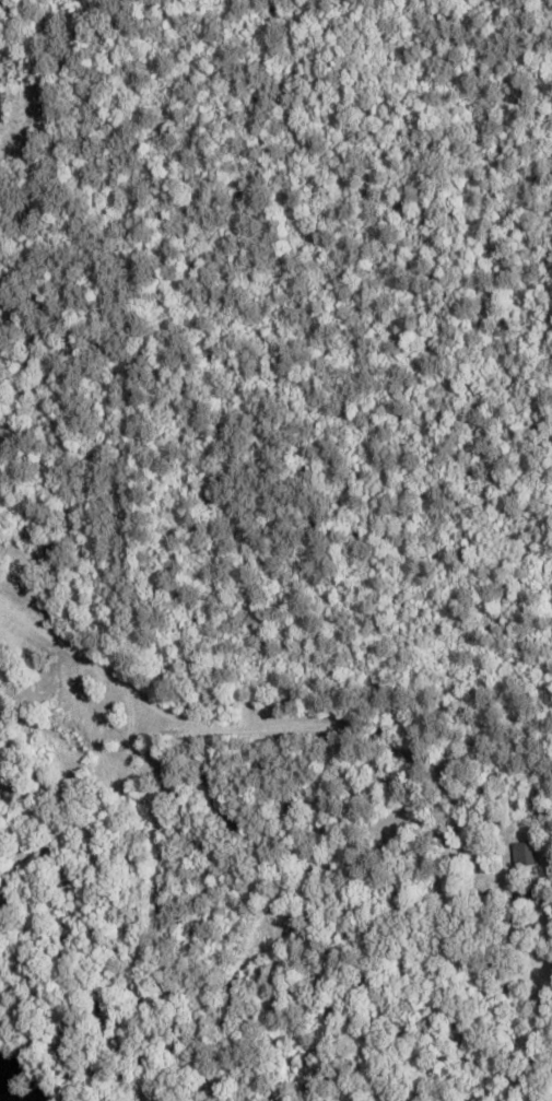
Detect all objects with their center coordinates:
road: (35, 629)
building: (67, 733)
building: (521, 856)
building: (527, 892)
river: (4, 1093)

